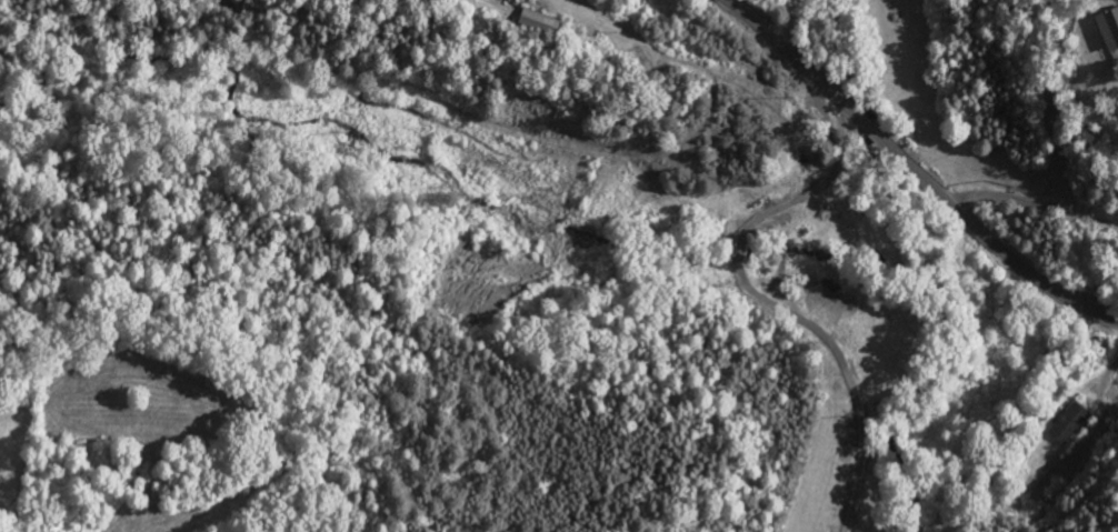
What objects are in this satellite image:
building: (1106, 31)
road: (1061, 157)
road: (915, 171)
building: (1068, 428)

